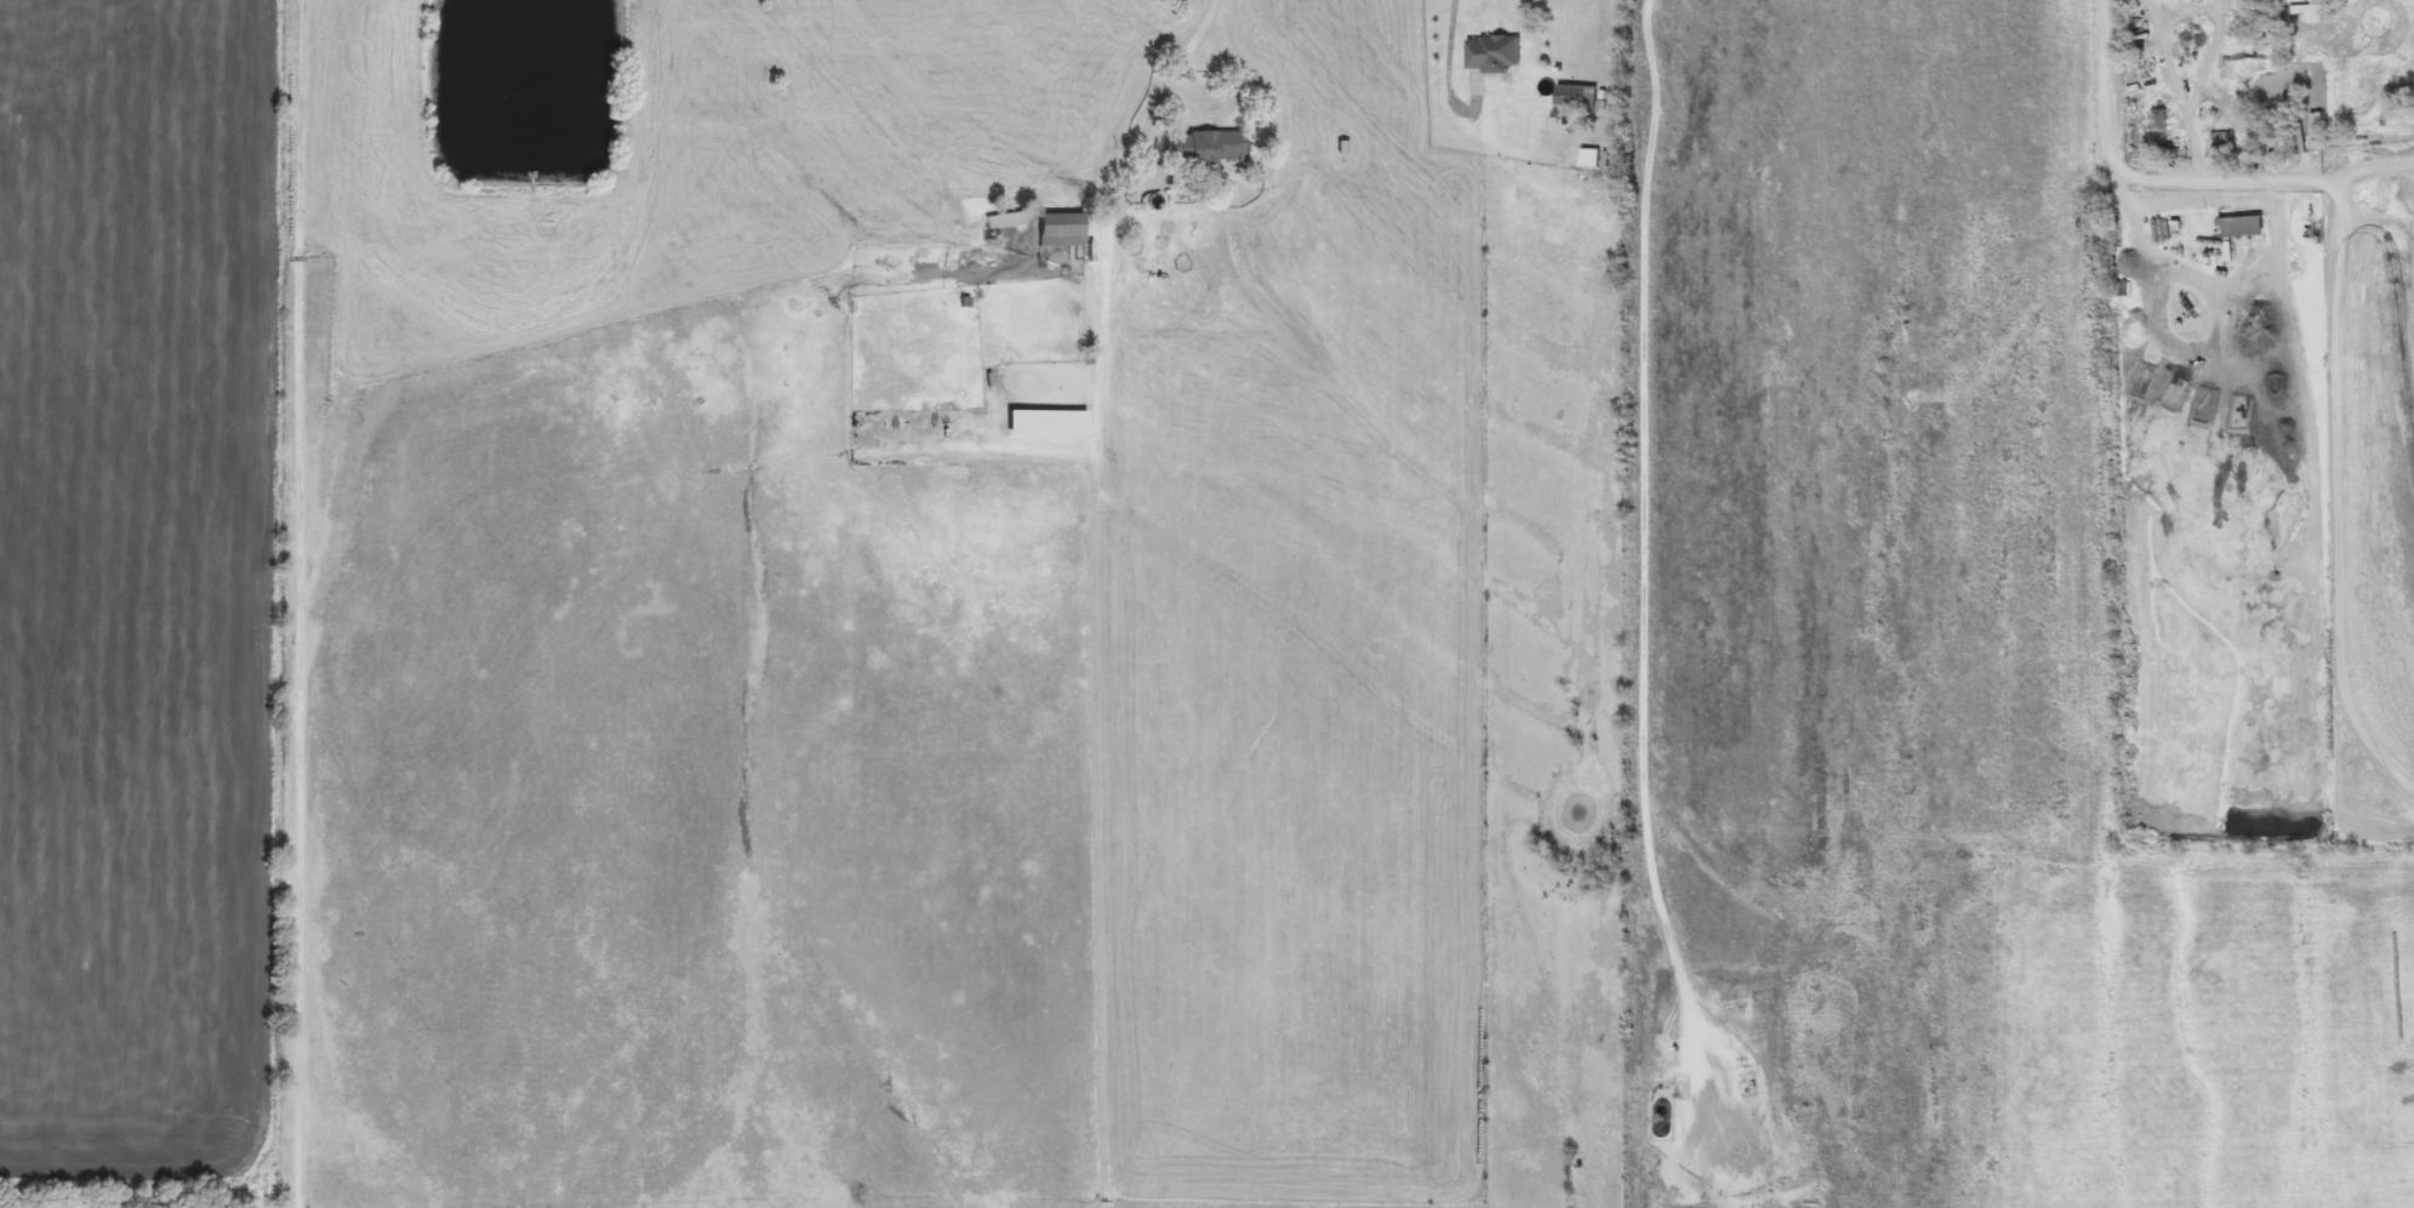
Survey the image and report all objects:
building: (2306, 13)
building: (1493, 52)
road: (1446, 62)
building: (1575, 96)
building: (2159, 119)
building: (2222, 143)
building: (1202, 149)
road: (2162, 177)
road: (1119, 207)
building: (1009, 213)
building: (2242, 226)
building: (1057, 229)
building: (1044, 423)
road: (1642, 534)
road: (298, 603)

